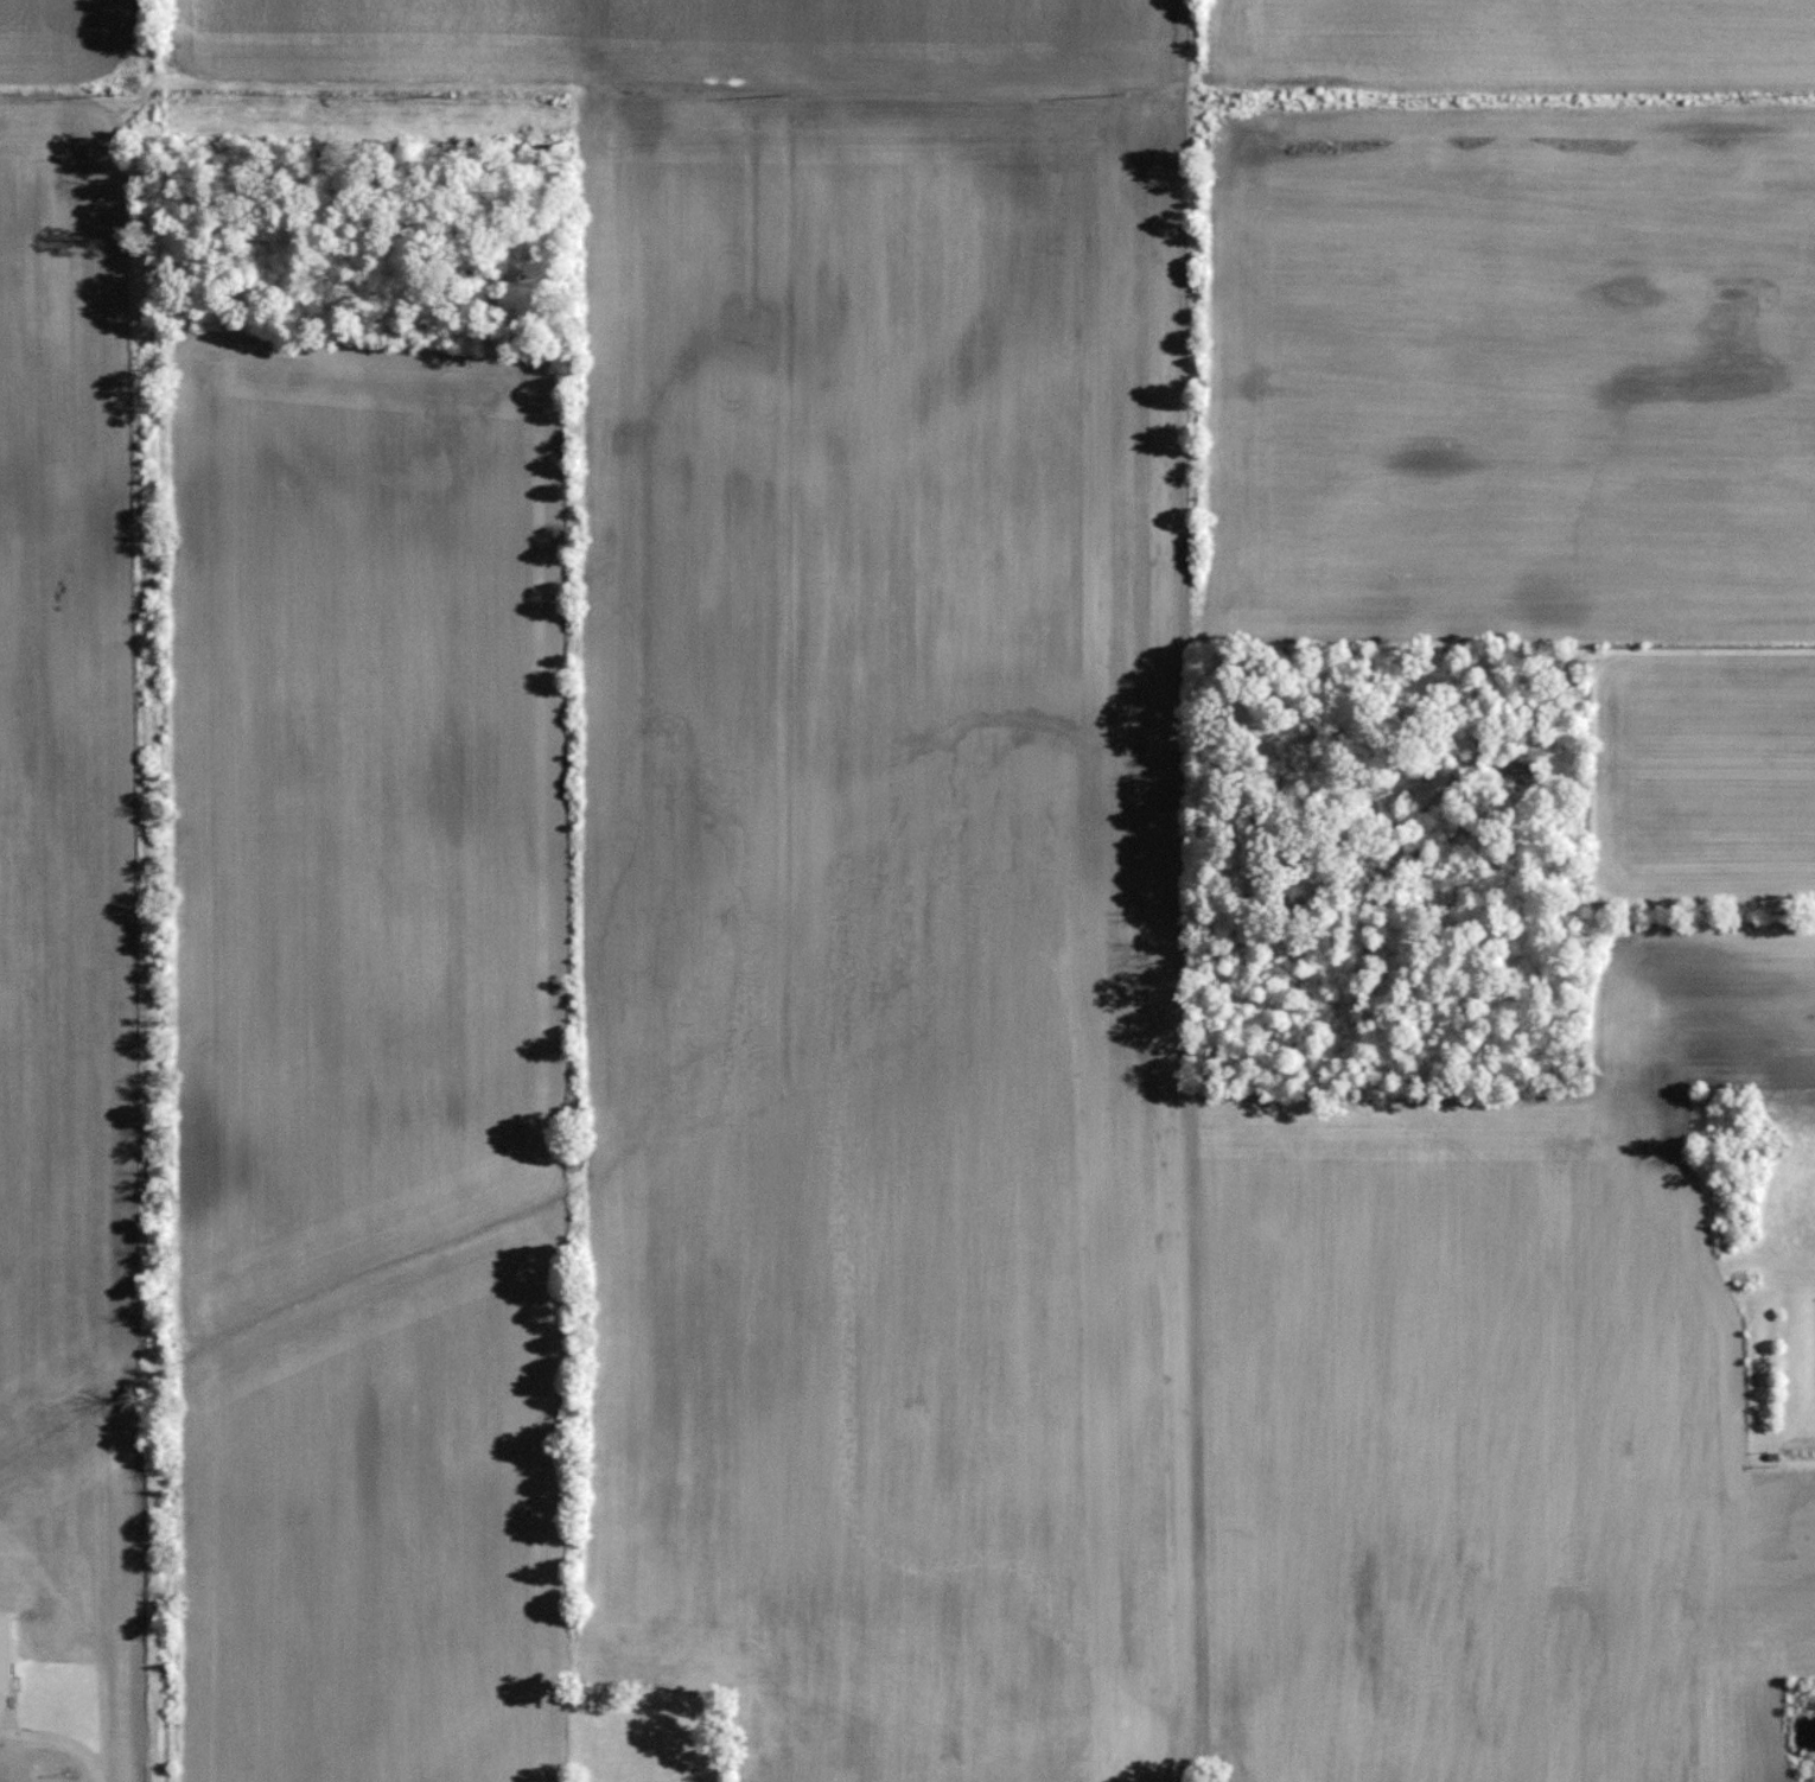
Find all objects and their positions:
building: (5, 1657)
road: (60, 1738)

